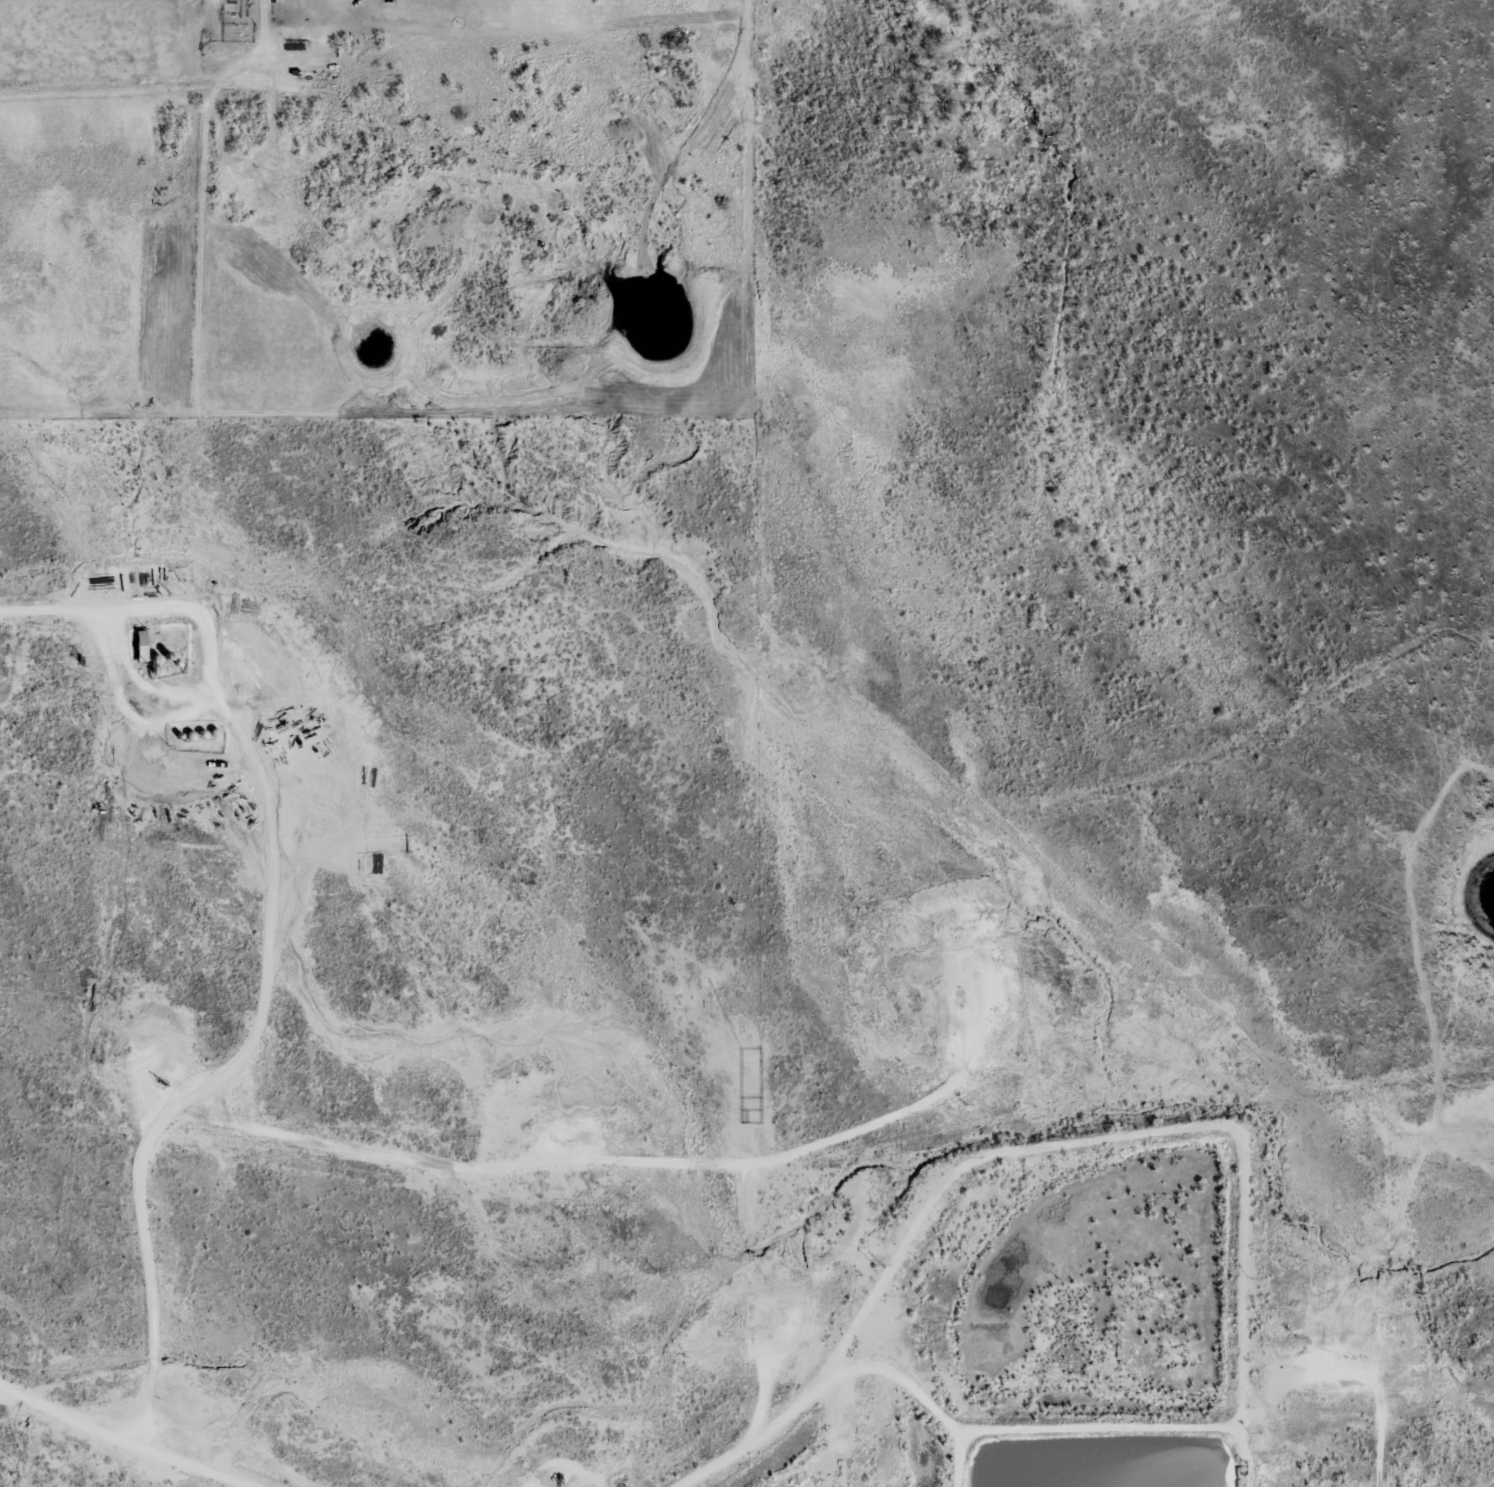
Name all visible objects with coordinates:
road: (87, 610)
building: (141, 646)
road: (1406, 899)
road: (837, 1375)
road: (124, 1441)

